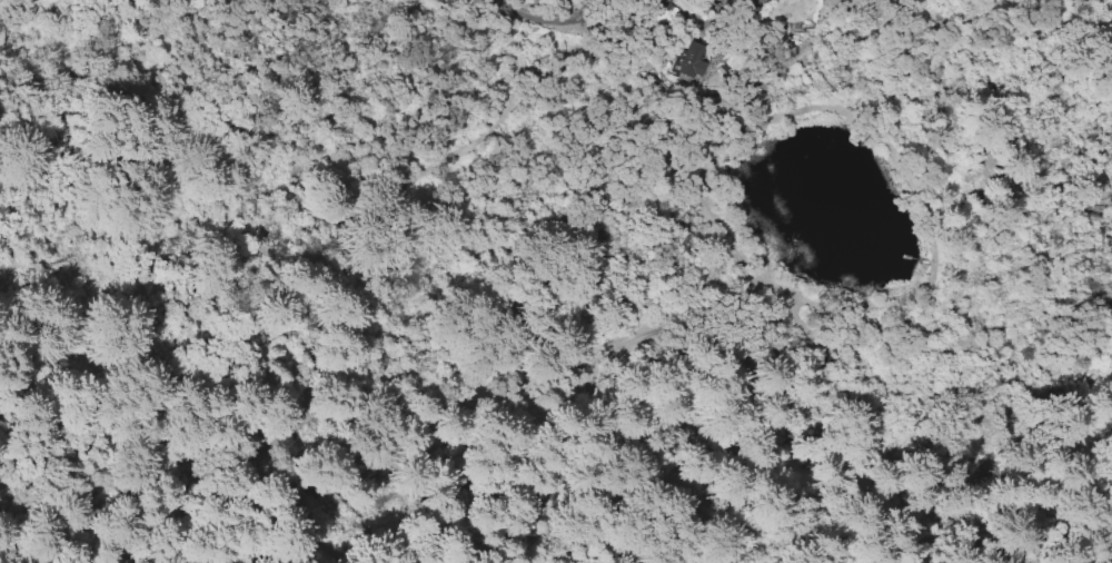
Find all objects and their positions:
building: (691, 58)
road: (999, 119)

